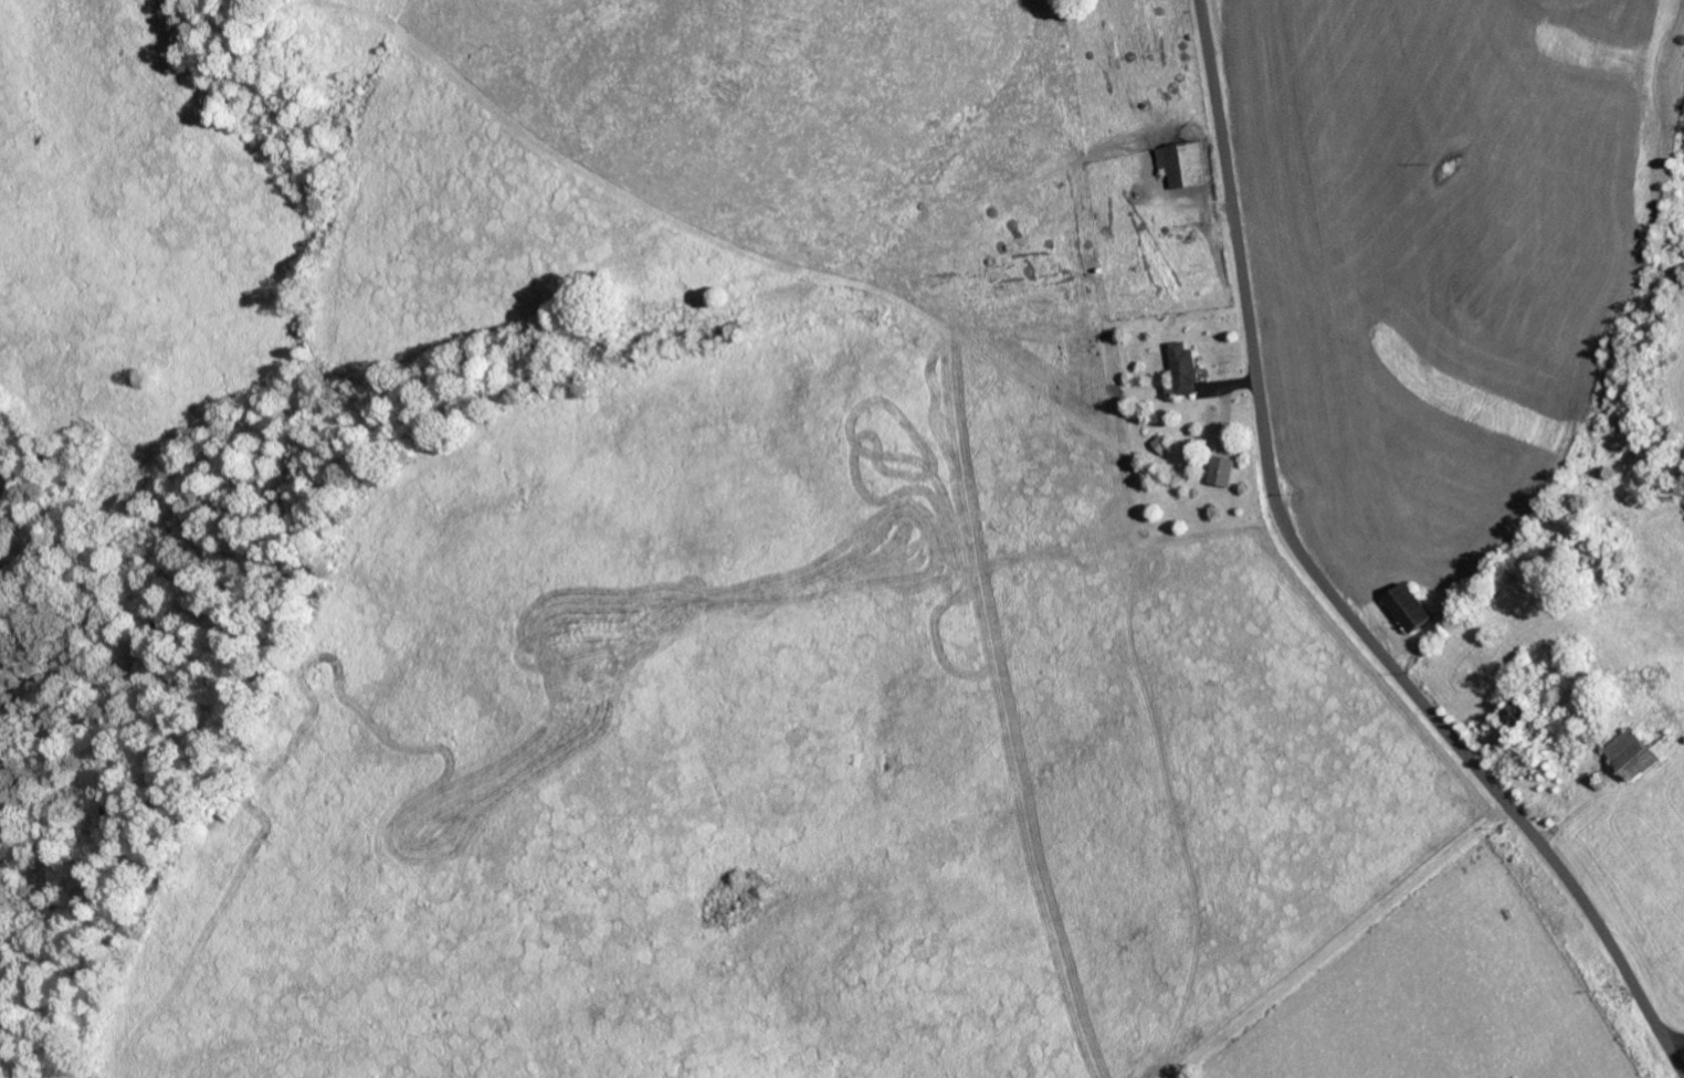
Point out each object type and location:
building: (1186, 163)
building: (1188, 367)
building: (1164, 444)
building: (1224, 471)
road: (1325, 585)
building: (1411, 609)
road: (1676, 1045)

